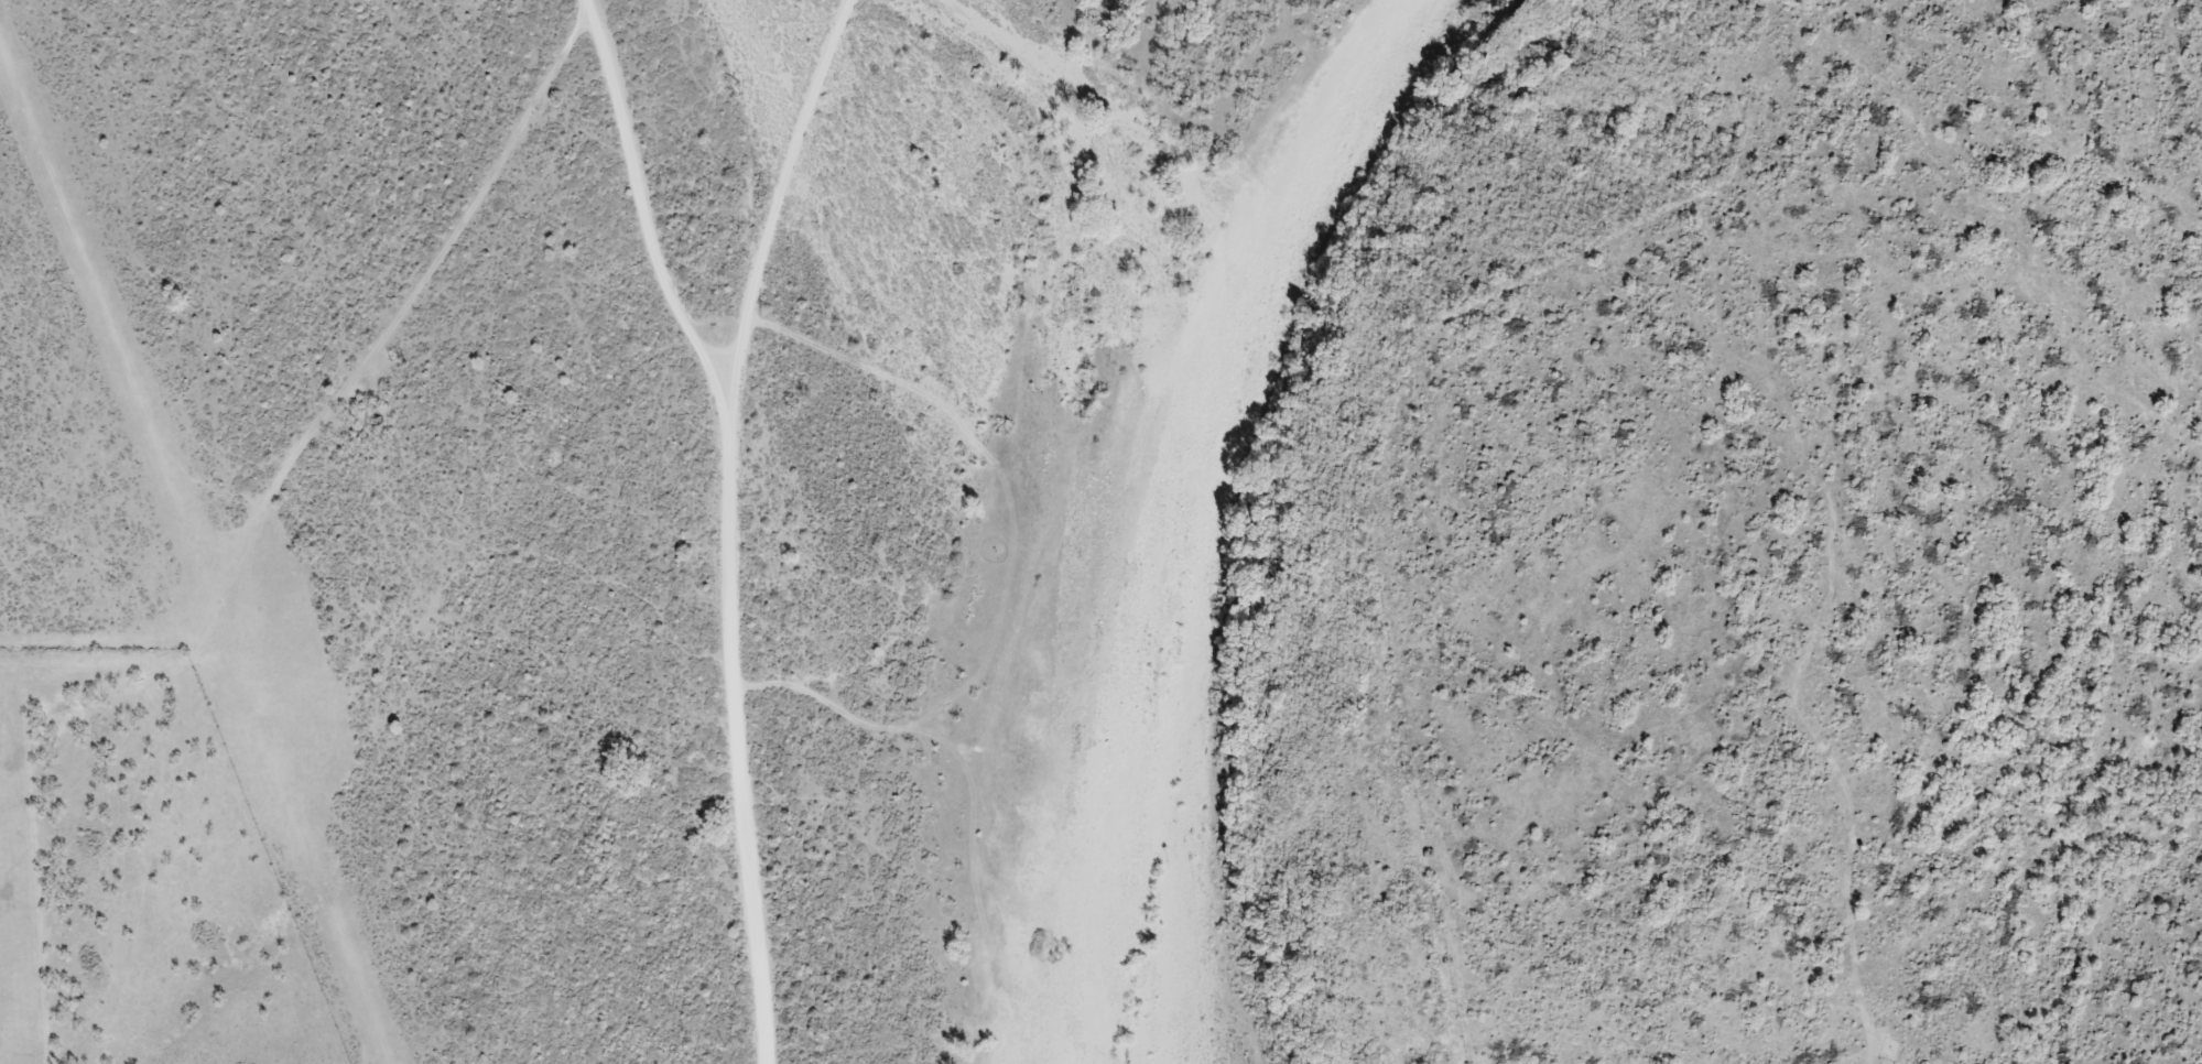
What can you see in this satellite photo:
road: (643, 202)
road: (731, 523)
airport runway: (187, 567)
airport apron: (281, 665)

